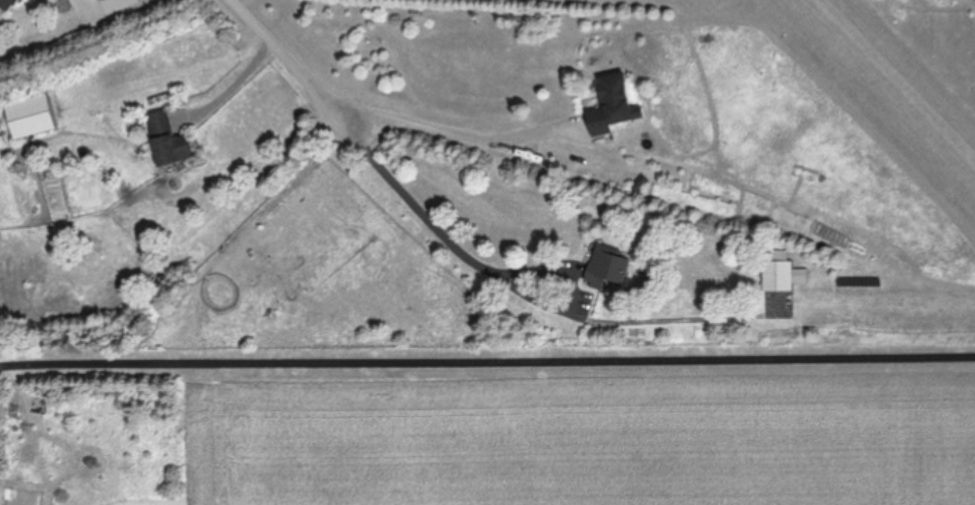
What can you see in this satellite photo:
building: (9, 3)
road: (294, 62)
road: (237, 81)
airport runway: (889, 88)
airport: (862, 120)
road: (453, 132)
building: (168, 140)
building: (607, 268)
road: (533, 297)
road: (493, 366)
road: (6, 369)
crop: (583, 436)

